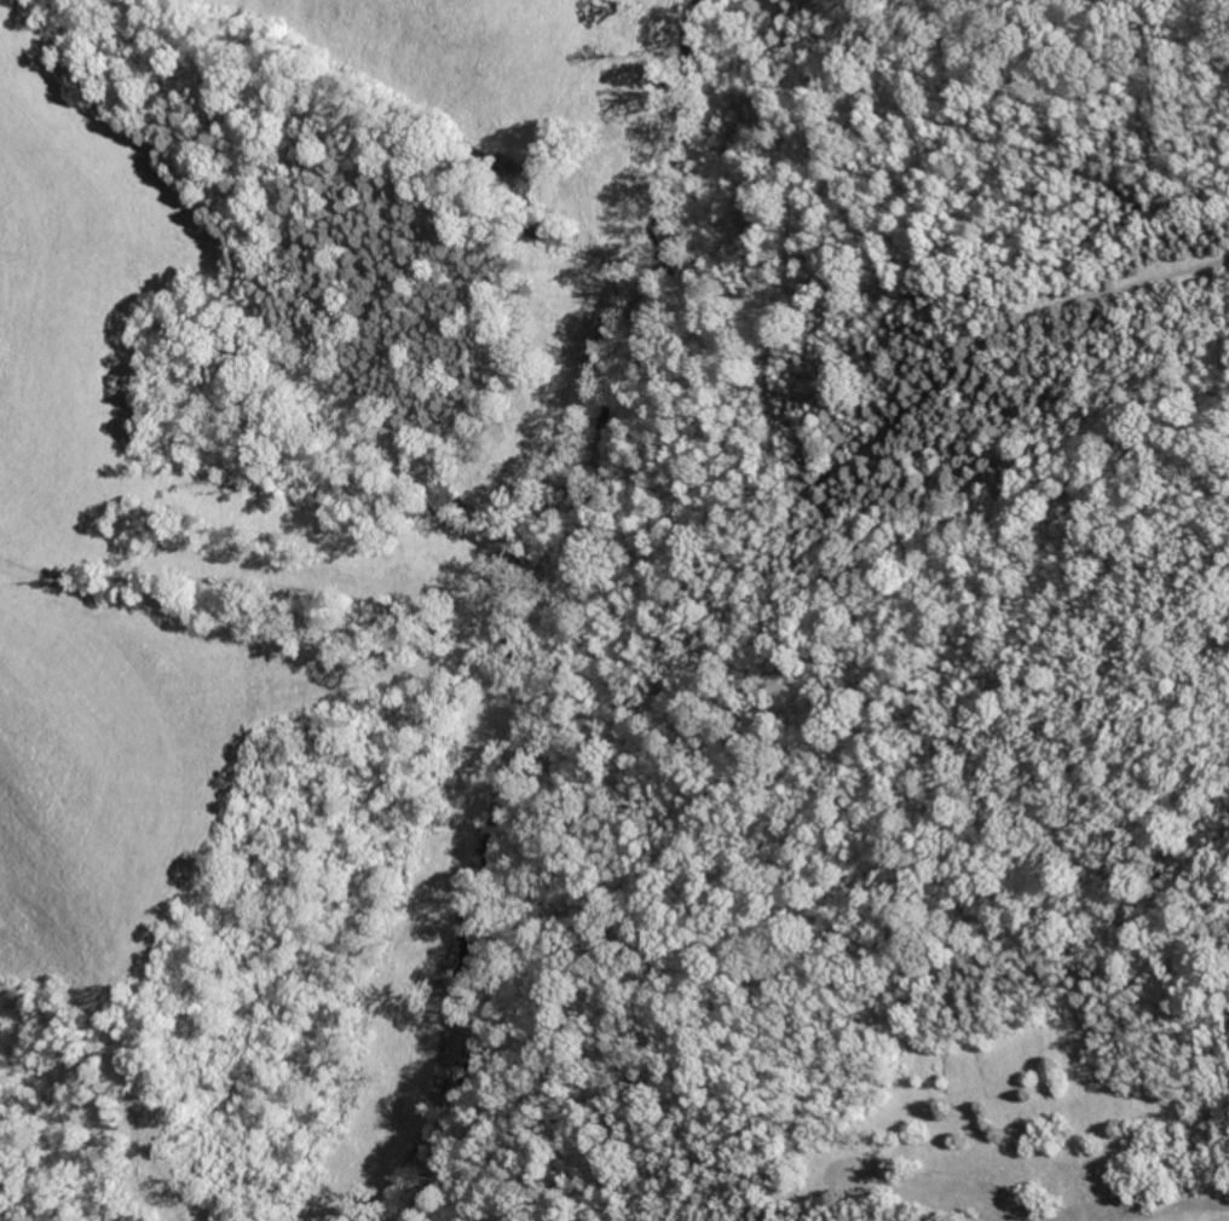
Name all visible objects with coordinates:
road: (977, 875)

